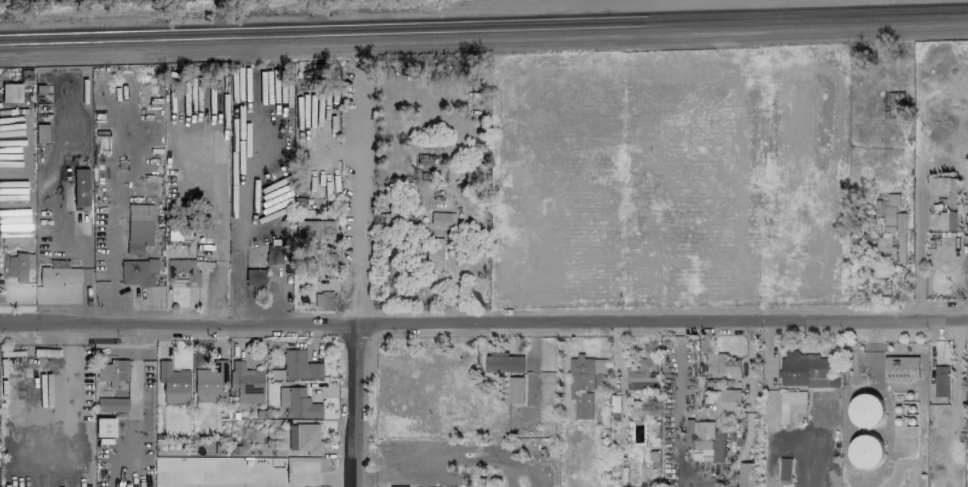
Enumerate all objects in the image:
railway: (483, 21)
railway: (483, 31)
road: (753, 36)
building: (11, 92)
building: (41, 133)
building: (943, 184)
building: (80, 187)
building: (887, 211)
building: (659, 215)
building: (394, 217)
building: (442, 219)
building: (948, 221)
building: (139, 227)
building: (316, 229)
road: (219, 235)
building: (900, 237)
building: (882, 248)
building: (434, 251)
building: (276, 255)
building: (808, 256)
building: (136, 272)
building: (183, 272)
building: (58, 276)
building: (255, 278)
road: (353, 284)
road: (484, 325)
building: (727, 364)
building: (297, 367)
road: (748, 368)
building: (901, 369)
building: (111, 371)
building: (806, 371)
building: (642, 375)
road: (135, 381)
building: (210, 382)
building: (173, 383)
building: (246, 383)
building: (941, 384)
building: (729, 401)
building: (298, 403)
building: (112, 404)
building: (792, 405)
building: (866, 411)
building: (522, 417)
building: (105, 427)
building: (305, 438)
building: (709, 441)
building: (867, 452)
building: (784, 468)
road: (683, 470)
building: (292, 471)
building: (745, 475)
road: (277, 480)

